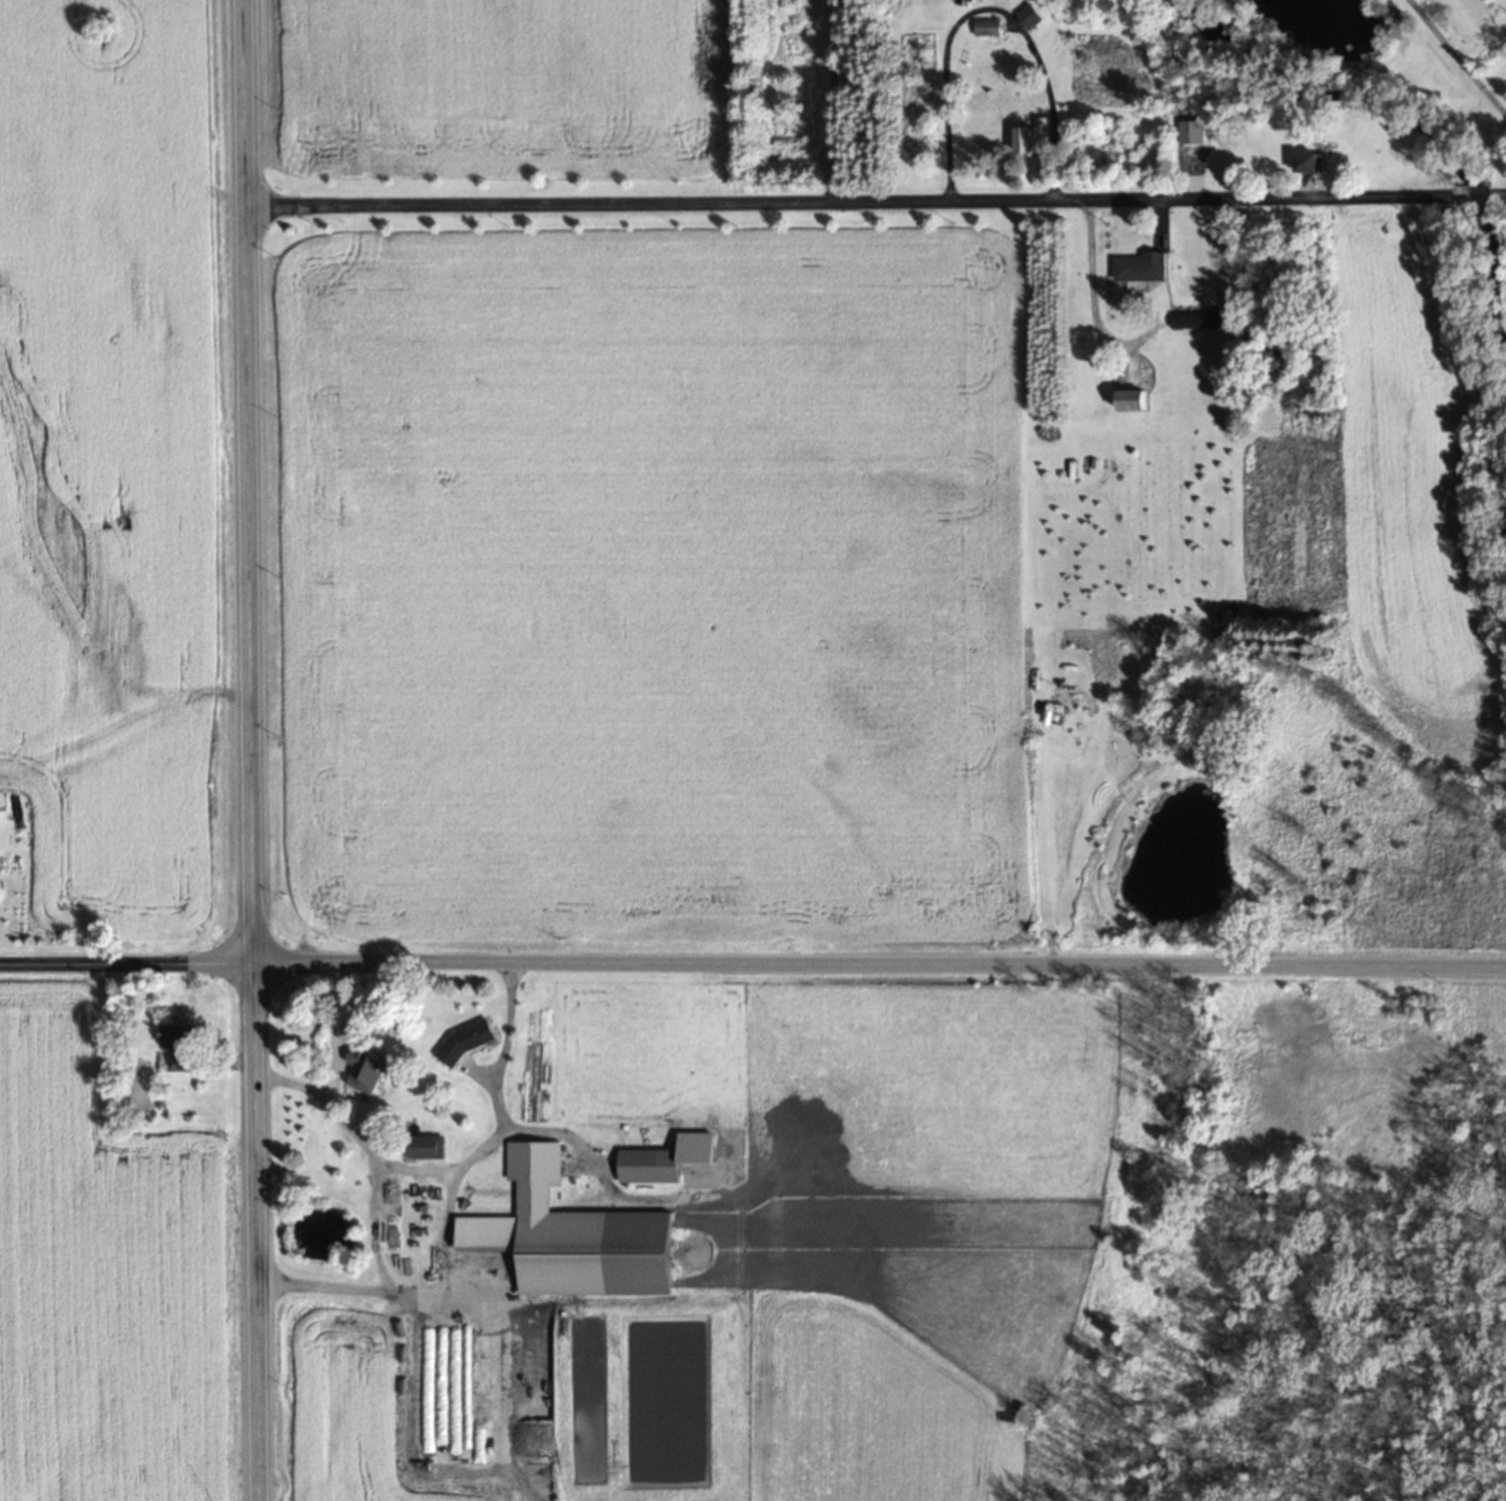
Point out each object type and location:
building: (1030, 14)
building: (989, 26)
building: (1034, 136)
building: (1309, 160)
road: (1467, 194)
road: (1494, 194)
road: (848, 199)
building: (1141, 265)
building: (1272, 358)
building: (1133, 396)
road: (250, 750)
road: (752, 963)
building: (180, 1032)
building: (466, 1038)
building: (175, 1060)
building: (364, 1065)
building: (425, 1145)
building: (649, 1164)
road: (446, 1165)
building: (572, 1234)
road: (366, 1284)
building: (471, 1323)
building: (464, 1447)

